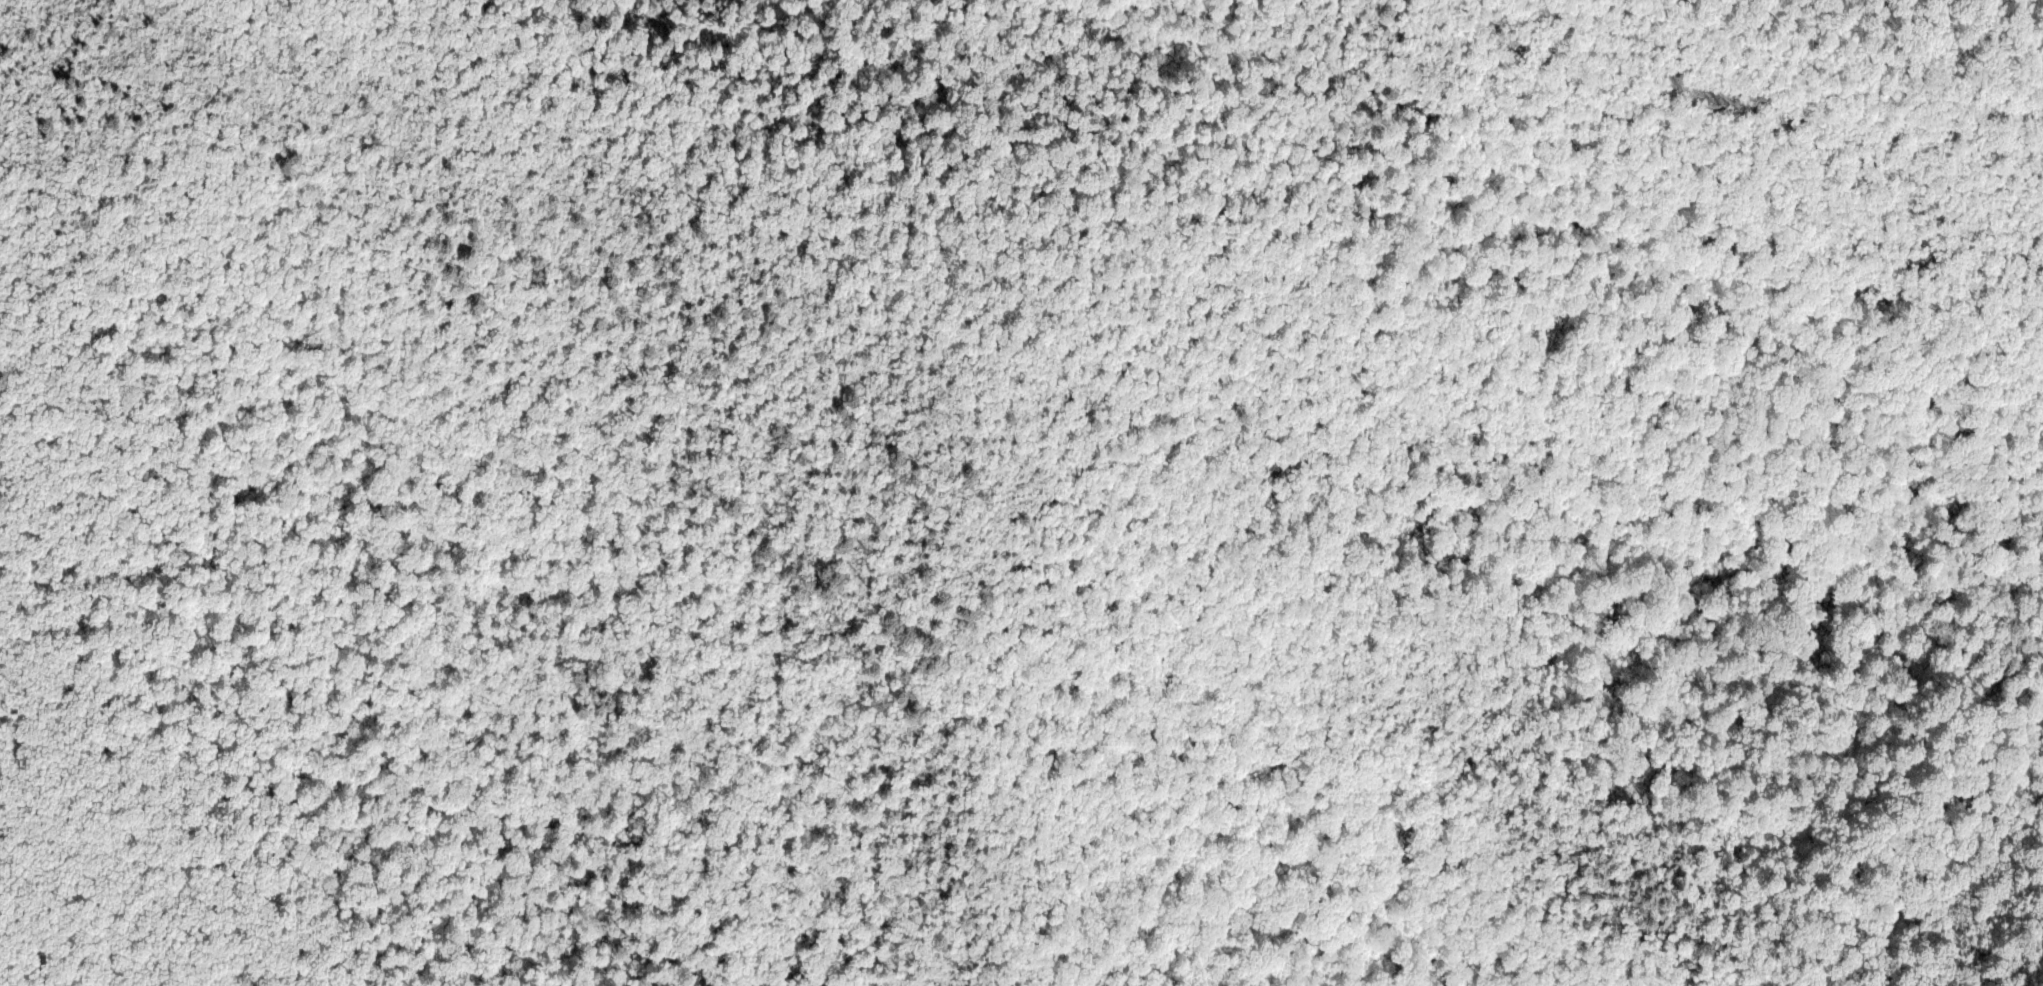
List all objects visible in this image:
road: (1062, 538)
road: (1727, 944)

